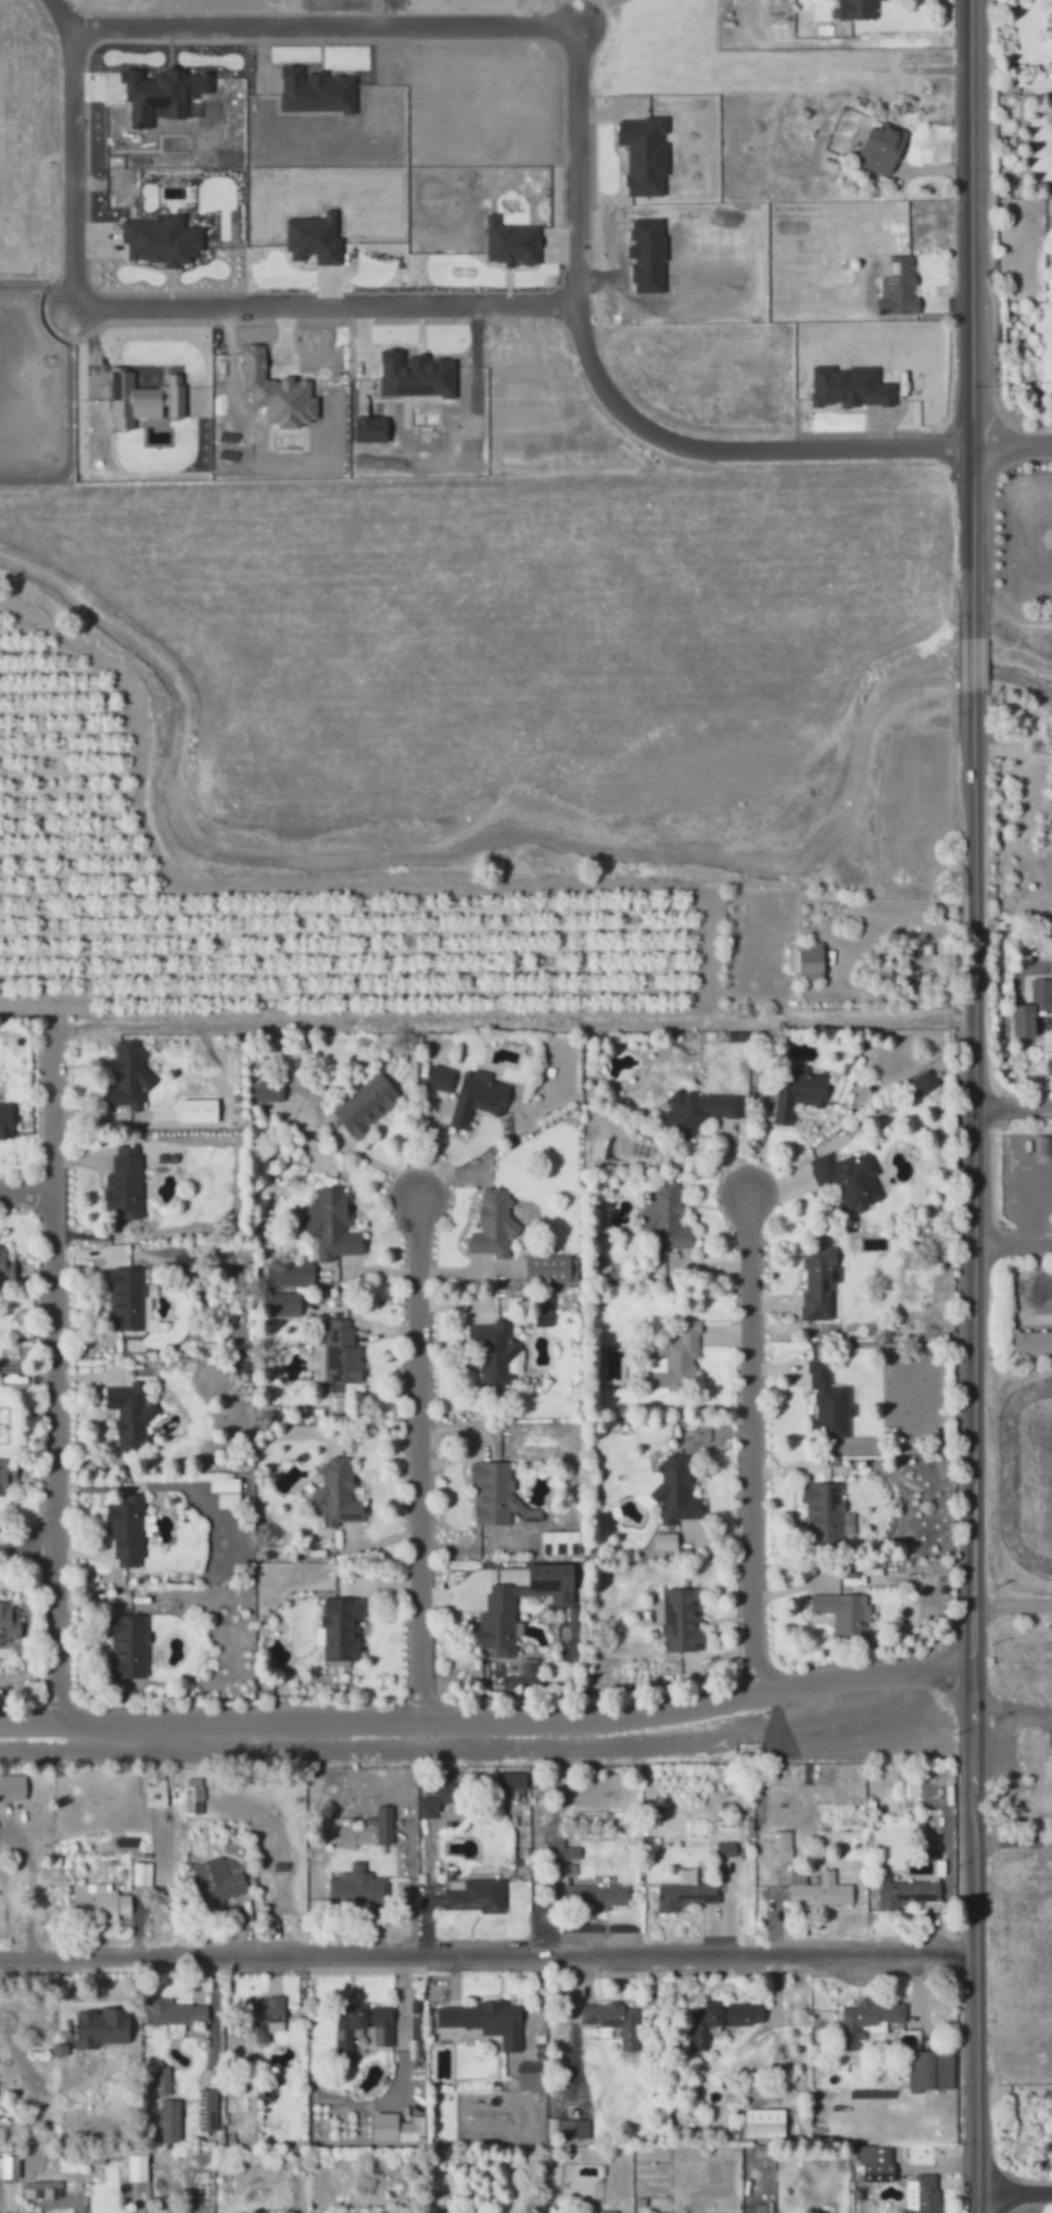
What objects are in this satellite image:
building: (884, 0)
building: (858, 9)
road: (454, 25)
building: (882, 150)
building: (899, 288)
road: (397, 307)
road: (966, 315)
road: (1010, 439)
road: (968, 658)
building: (922, 957)
building: (808, 961)
building: (1032, 1008)
building: (128, 1076)
building: (440, 1079)
building: (924, 1083)
building: (269, 1092)
building: (798, 1092)
building: (480, 1095)
road: (1011, 1102)
building: (366, 1105)
building: (199, 1110)
building: (696, 1111)
building: (7, 1121)
building: (1044, 1149)
building: (849, 1178)
building: (125, 1182)
road: (24, 1189)
building: (667, 1218)
building: (332, 1224)
building: (494, 1225)
road: (1011, 1241)
building: (7, 1267)
building: (554, 1269)
building: (293, 1275)
building: (819, 1286)
building: (130, 1300)
building: (284, 1305)
building: (1032, 1344)
building: (497, 1354)
building: (341, 1357)
building: (675, 1358)
road: (50, 1369)
building: (829, 1404)
building: (131, 1417)
road: (745, 1438)
road: (969, 1449)
road: (414, 1454)
building: (7, 1474)
building: (671, 1489)
building: (226, 1492)
building: (338, 1493)
building: (496, 1495)
building: (823, 1509)
building: (127, 1531)
road: (25, 1542)
building: (664, 1542)
building: (560, 1543)
building: (500, 1609)
building: (844, 1613)
building: (572, 1615)
building: (683, 1621)
building: (9, 1622)
building: (342, 1629)
building: (129, 1647)
building: (531, 1660)
road: (485, 1715)
building: (508, 1775)
building: (10, 1782)
building: (445, 1787)
building: (153, 1789)
building: (189, 1790)
building: (426, 1800)
building: (1045, 1800)
building: (378, 1819)
building: (929, 1830)
building: (777, 1838)
building: (557, 1843)
building: (722, 1843)
building: (926, 1843)
building: (725, 1848)
building: (51, 1856)
building: (138, 1869)
building: (795, 1873)
building: (813, 1875)
building: (213, 1877)
building: (451, 1878)
building: (354, 1881)
building: (94, 1883)
building: (817, 1887)
building: (901, 1887)
building: (681, 1889)
building: (473, 1890)
building: (593, 1890)
building: (94, 1899)
road: (486, 1950)
building: (169, 2009)
building: (258, 2010)
building: (719, 2014)
building: (863, 2014)
building: (355, 2015)
building: (483, 2015)
building: (610, 2015)
building: (55, 2017)
building: (272, 2021)
building: (874, 2023)
building: (600, 2026)
building: (379, 2030)
building: (55, 2044)
building: (925, 2066)
building: (527, 2071)
building: (159, 2075)
building: (204, 2103)
building: (164, 2115)
building: (761, 2117)
building: (570, 2124)
building: (397, 2127)
building: (764, 2151)
building: (872, 2158)
building: (9, 2166)
building: (138, 2167)
building: (578, 2187)
road: (1012, 2187)
building: (42, 2189)
building: (907, 2189)
building: (921, 2193)
building: (607, 2206)

